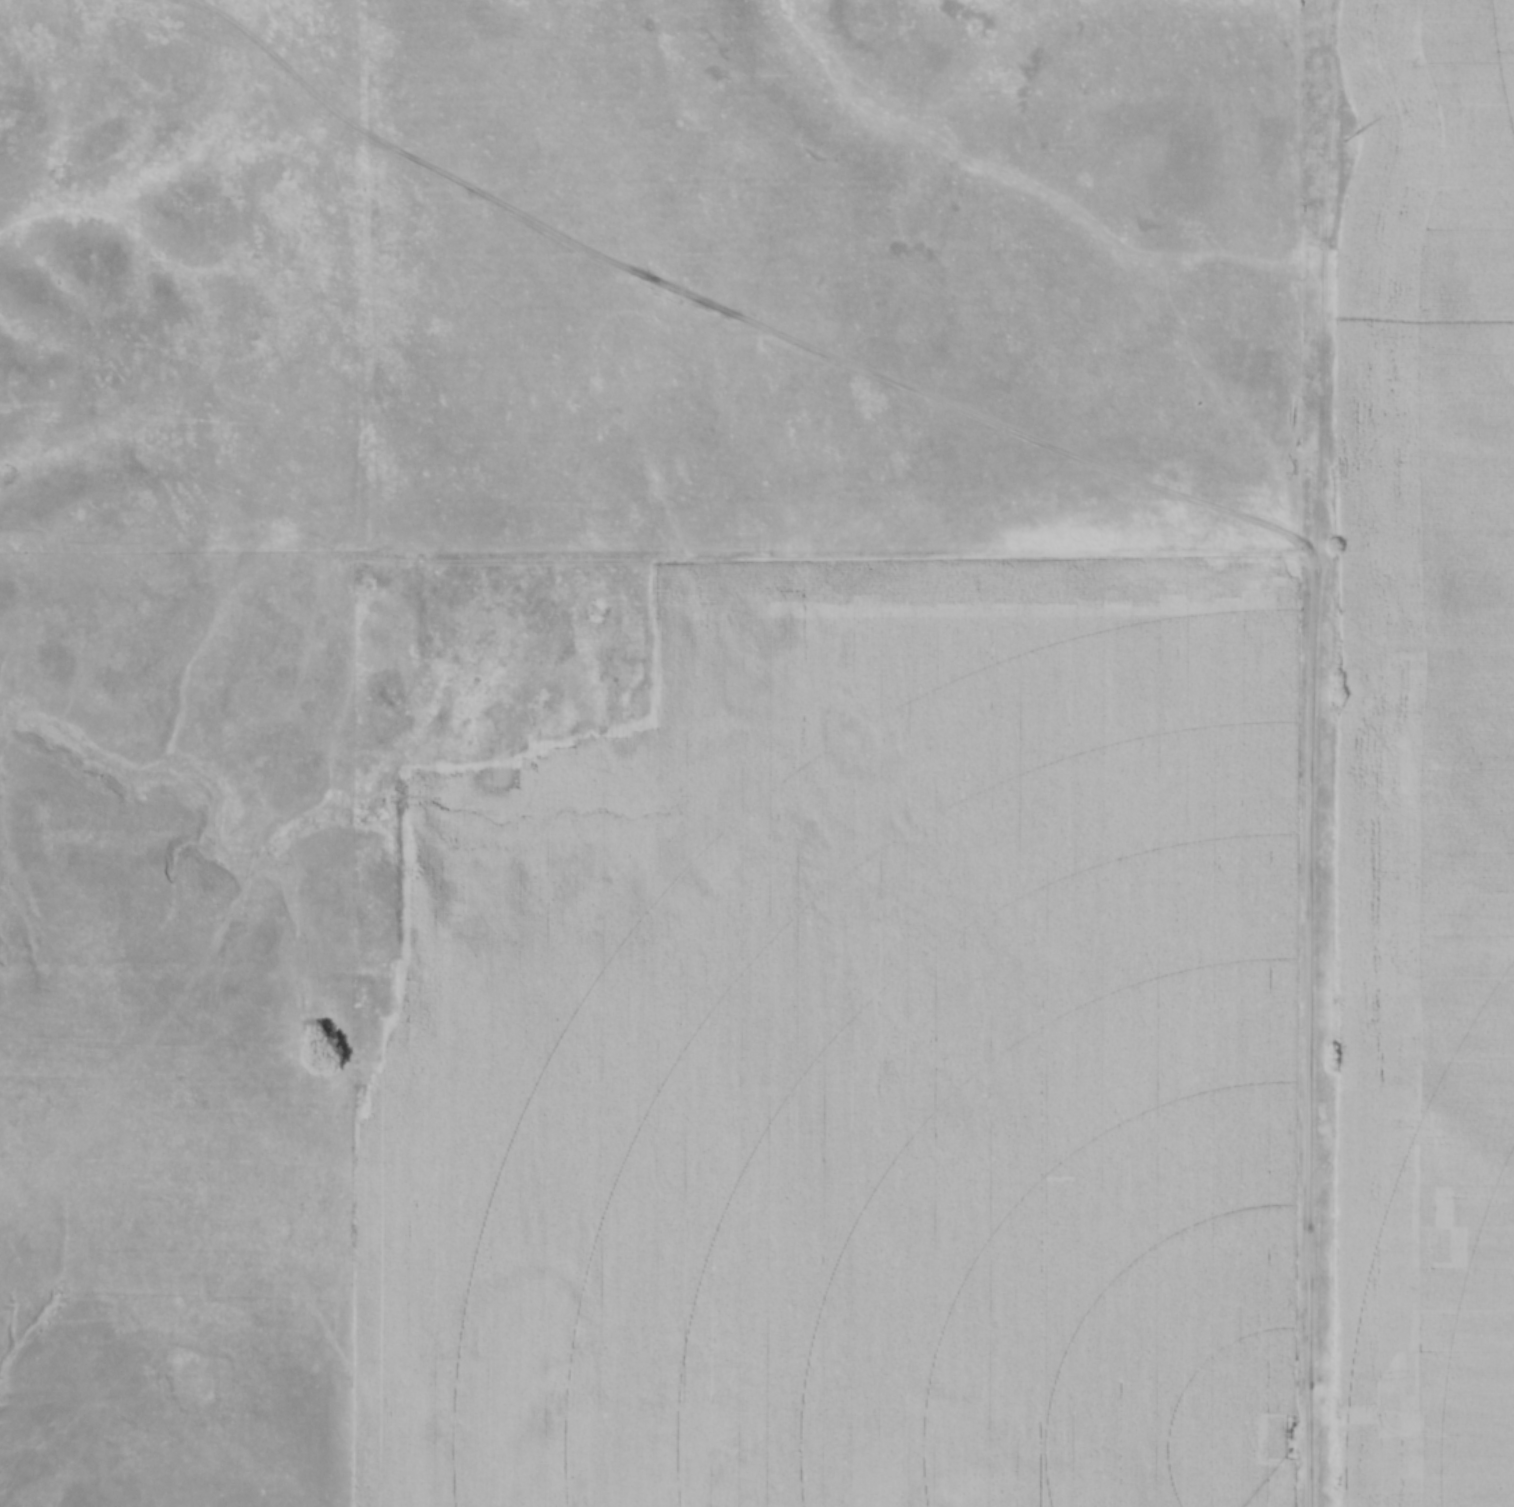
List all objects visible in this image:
power tower: (1353, 140)
road: (1319, 770)

